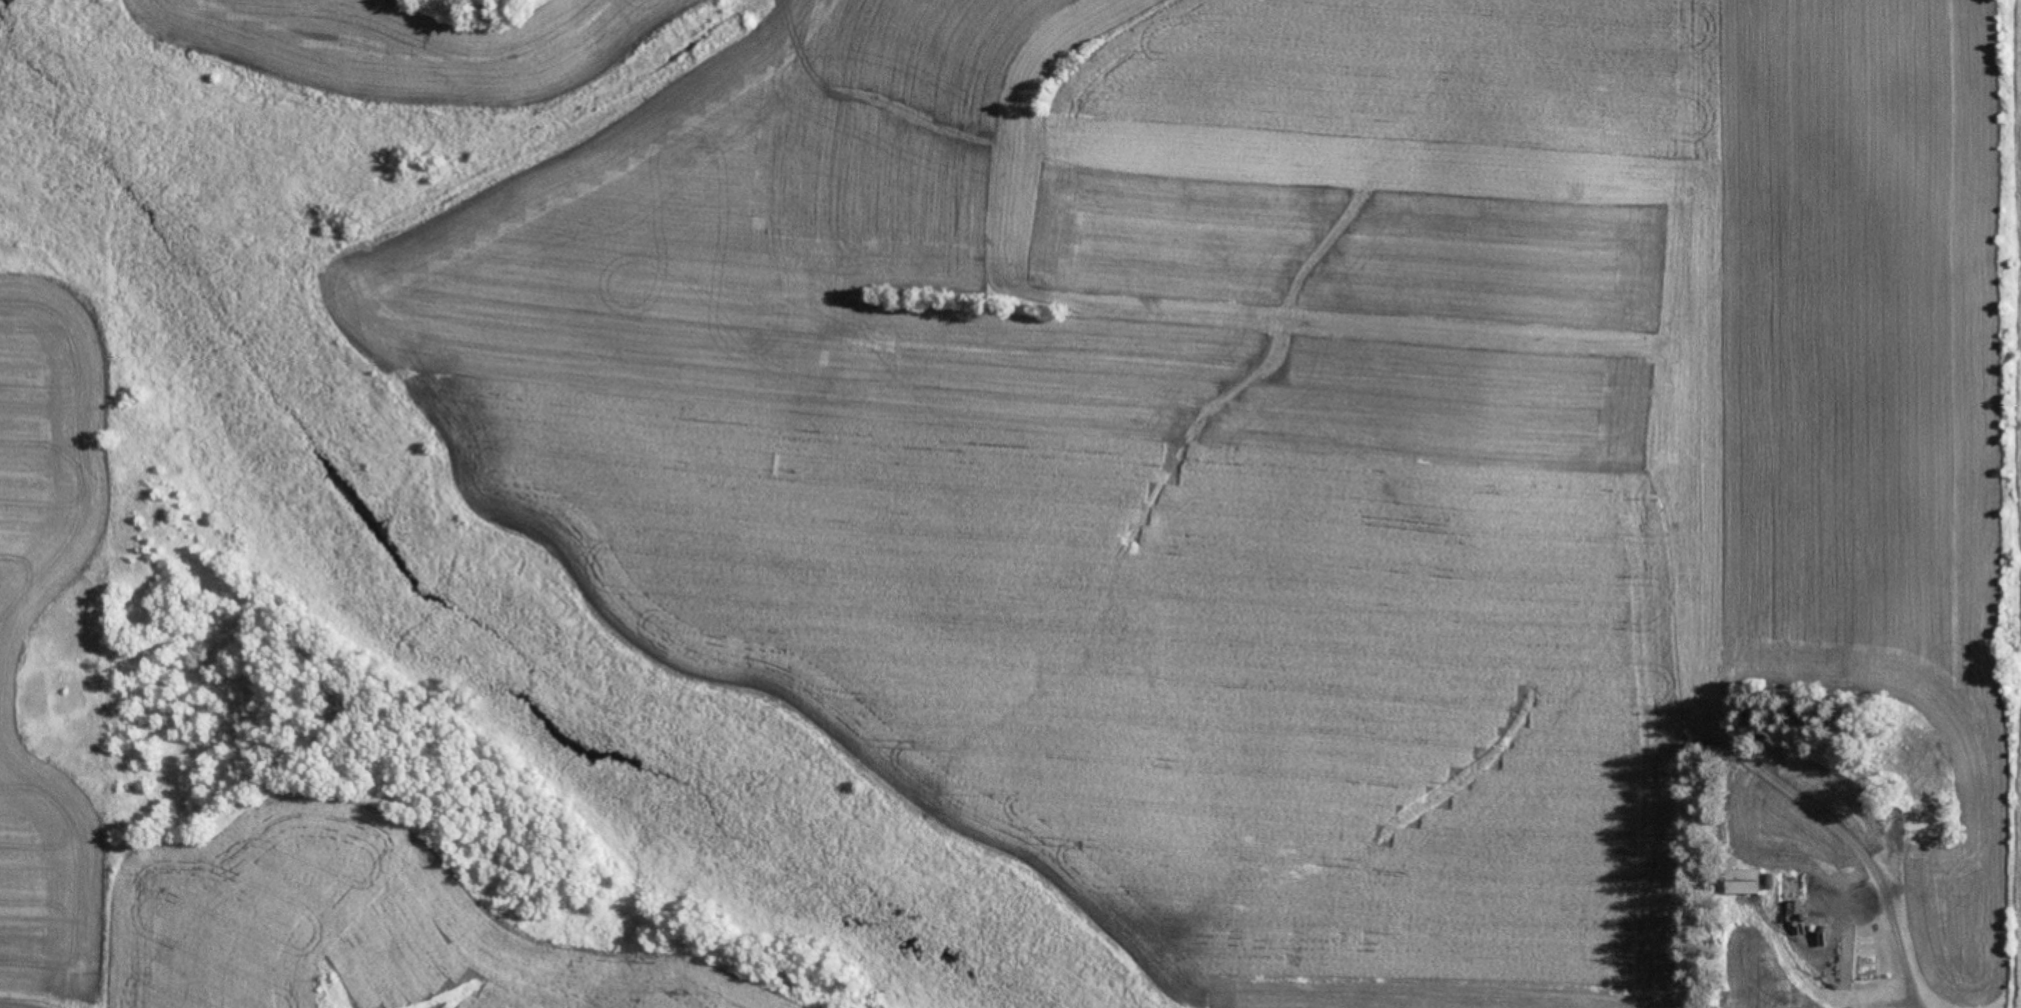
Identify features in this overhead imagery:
building: (1741, 884)
building: (1818, 900)
road: (1903, 963)
road: (18, 993)

